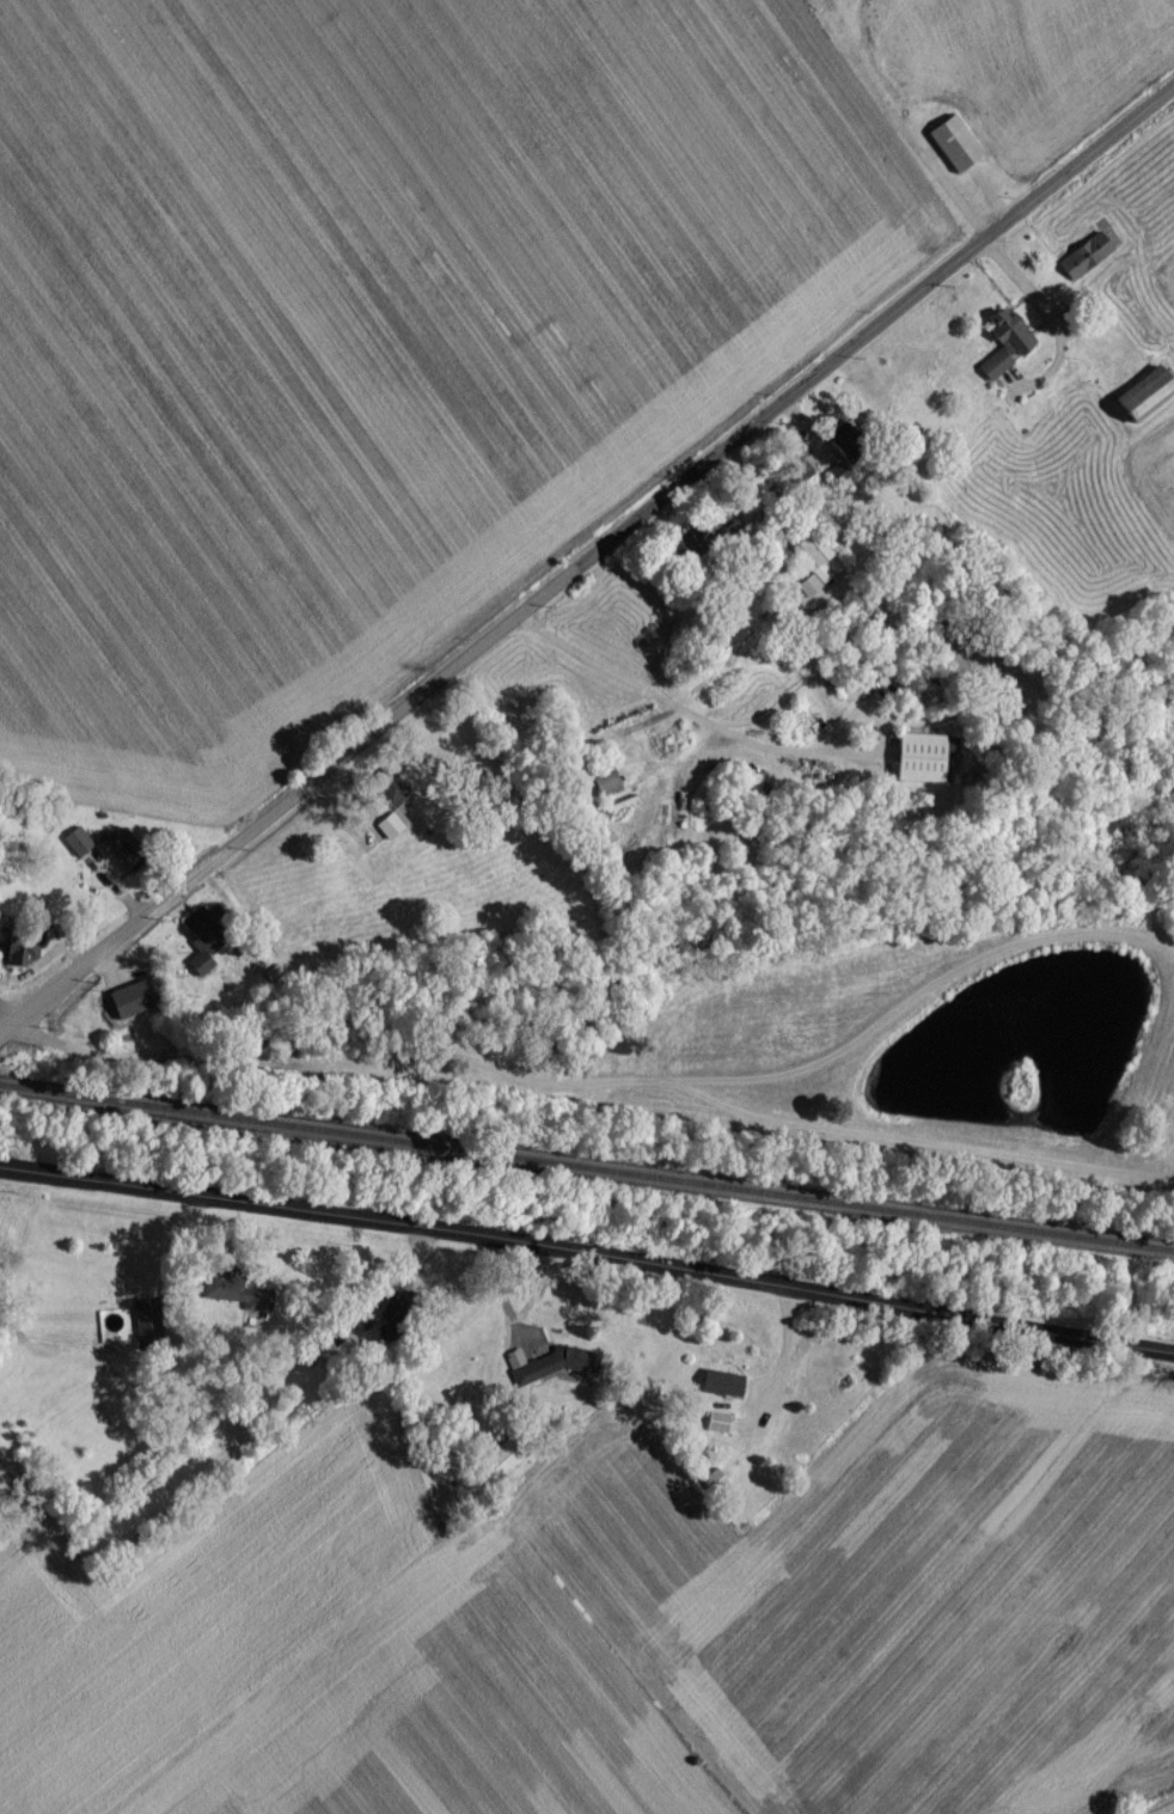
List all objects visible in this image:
building: (953, 151)
road: (956, 198)
road: (1028, 288)
building: (1002, 353)
road: (720, 513)
building: (809, 557)
road: (599, 561)
road: (821, 749)
building: (910, 766)
building: (603, 790)
building: (390, 832)
building: (118, 862)
road: (921, 995)
road: (7, 1012)
road: (7, 1021)
road: (340, 1064)
road: (921, 1143)
railway: (586, 1177)
road: (588, 1253)
road: (508, 1332)
building: (539, 1375)
building: (717, 1391)
building: (716, 1429)
road: (10, 1466)
building: (497, 1470)

